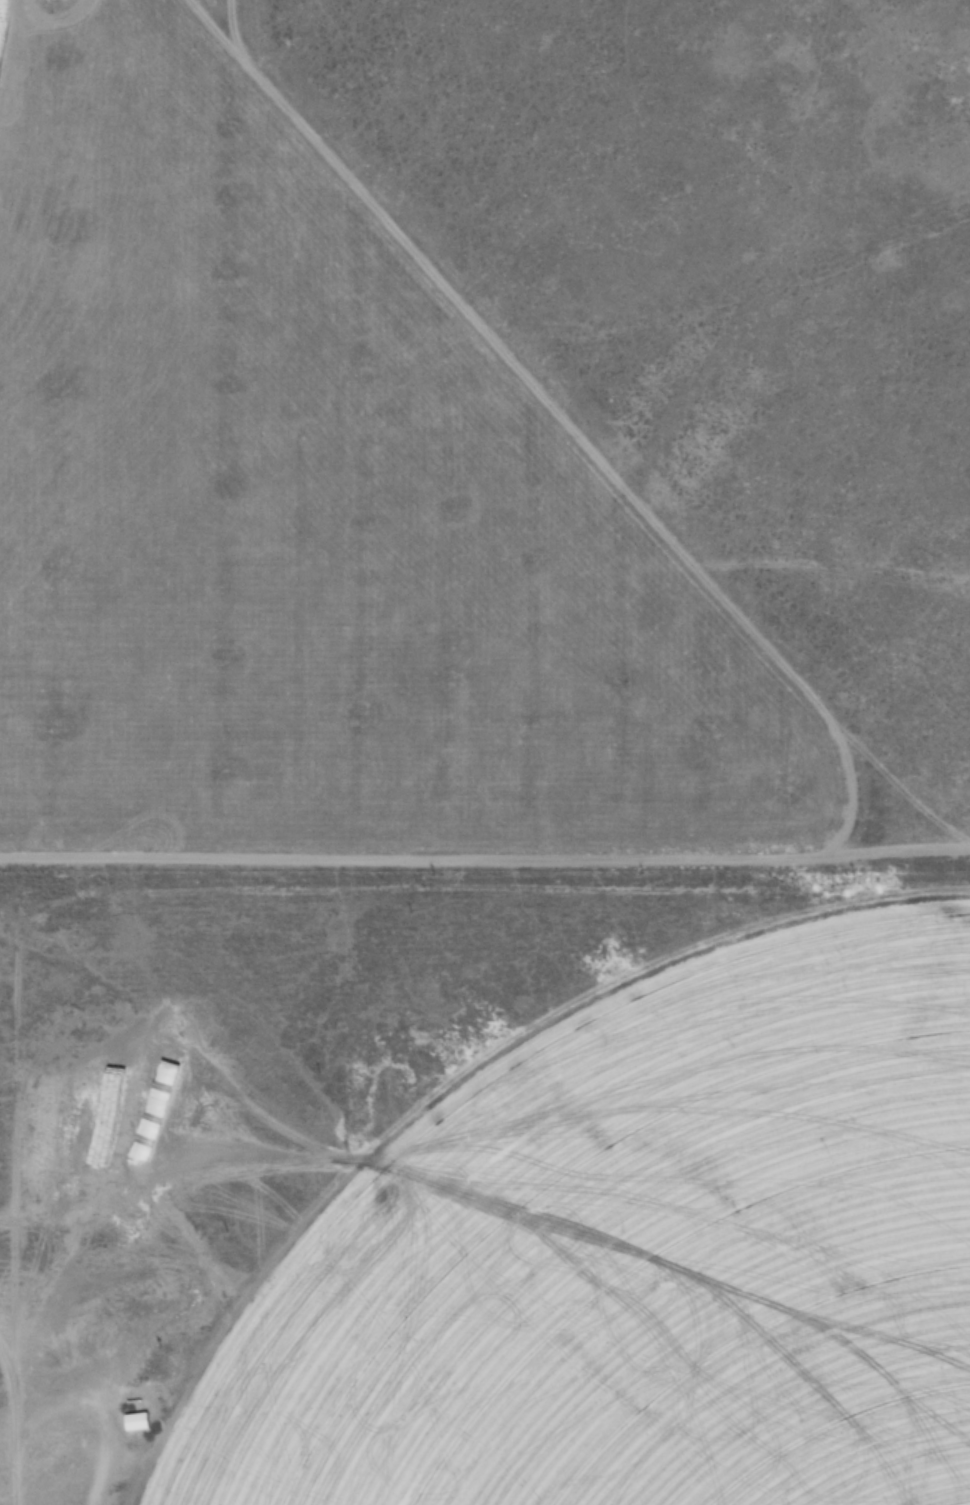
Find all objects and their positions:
crop: (655, 1273)

